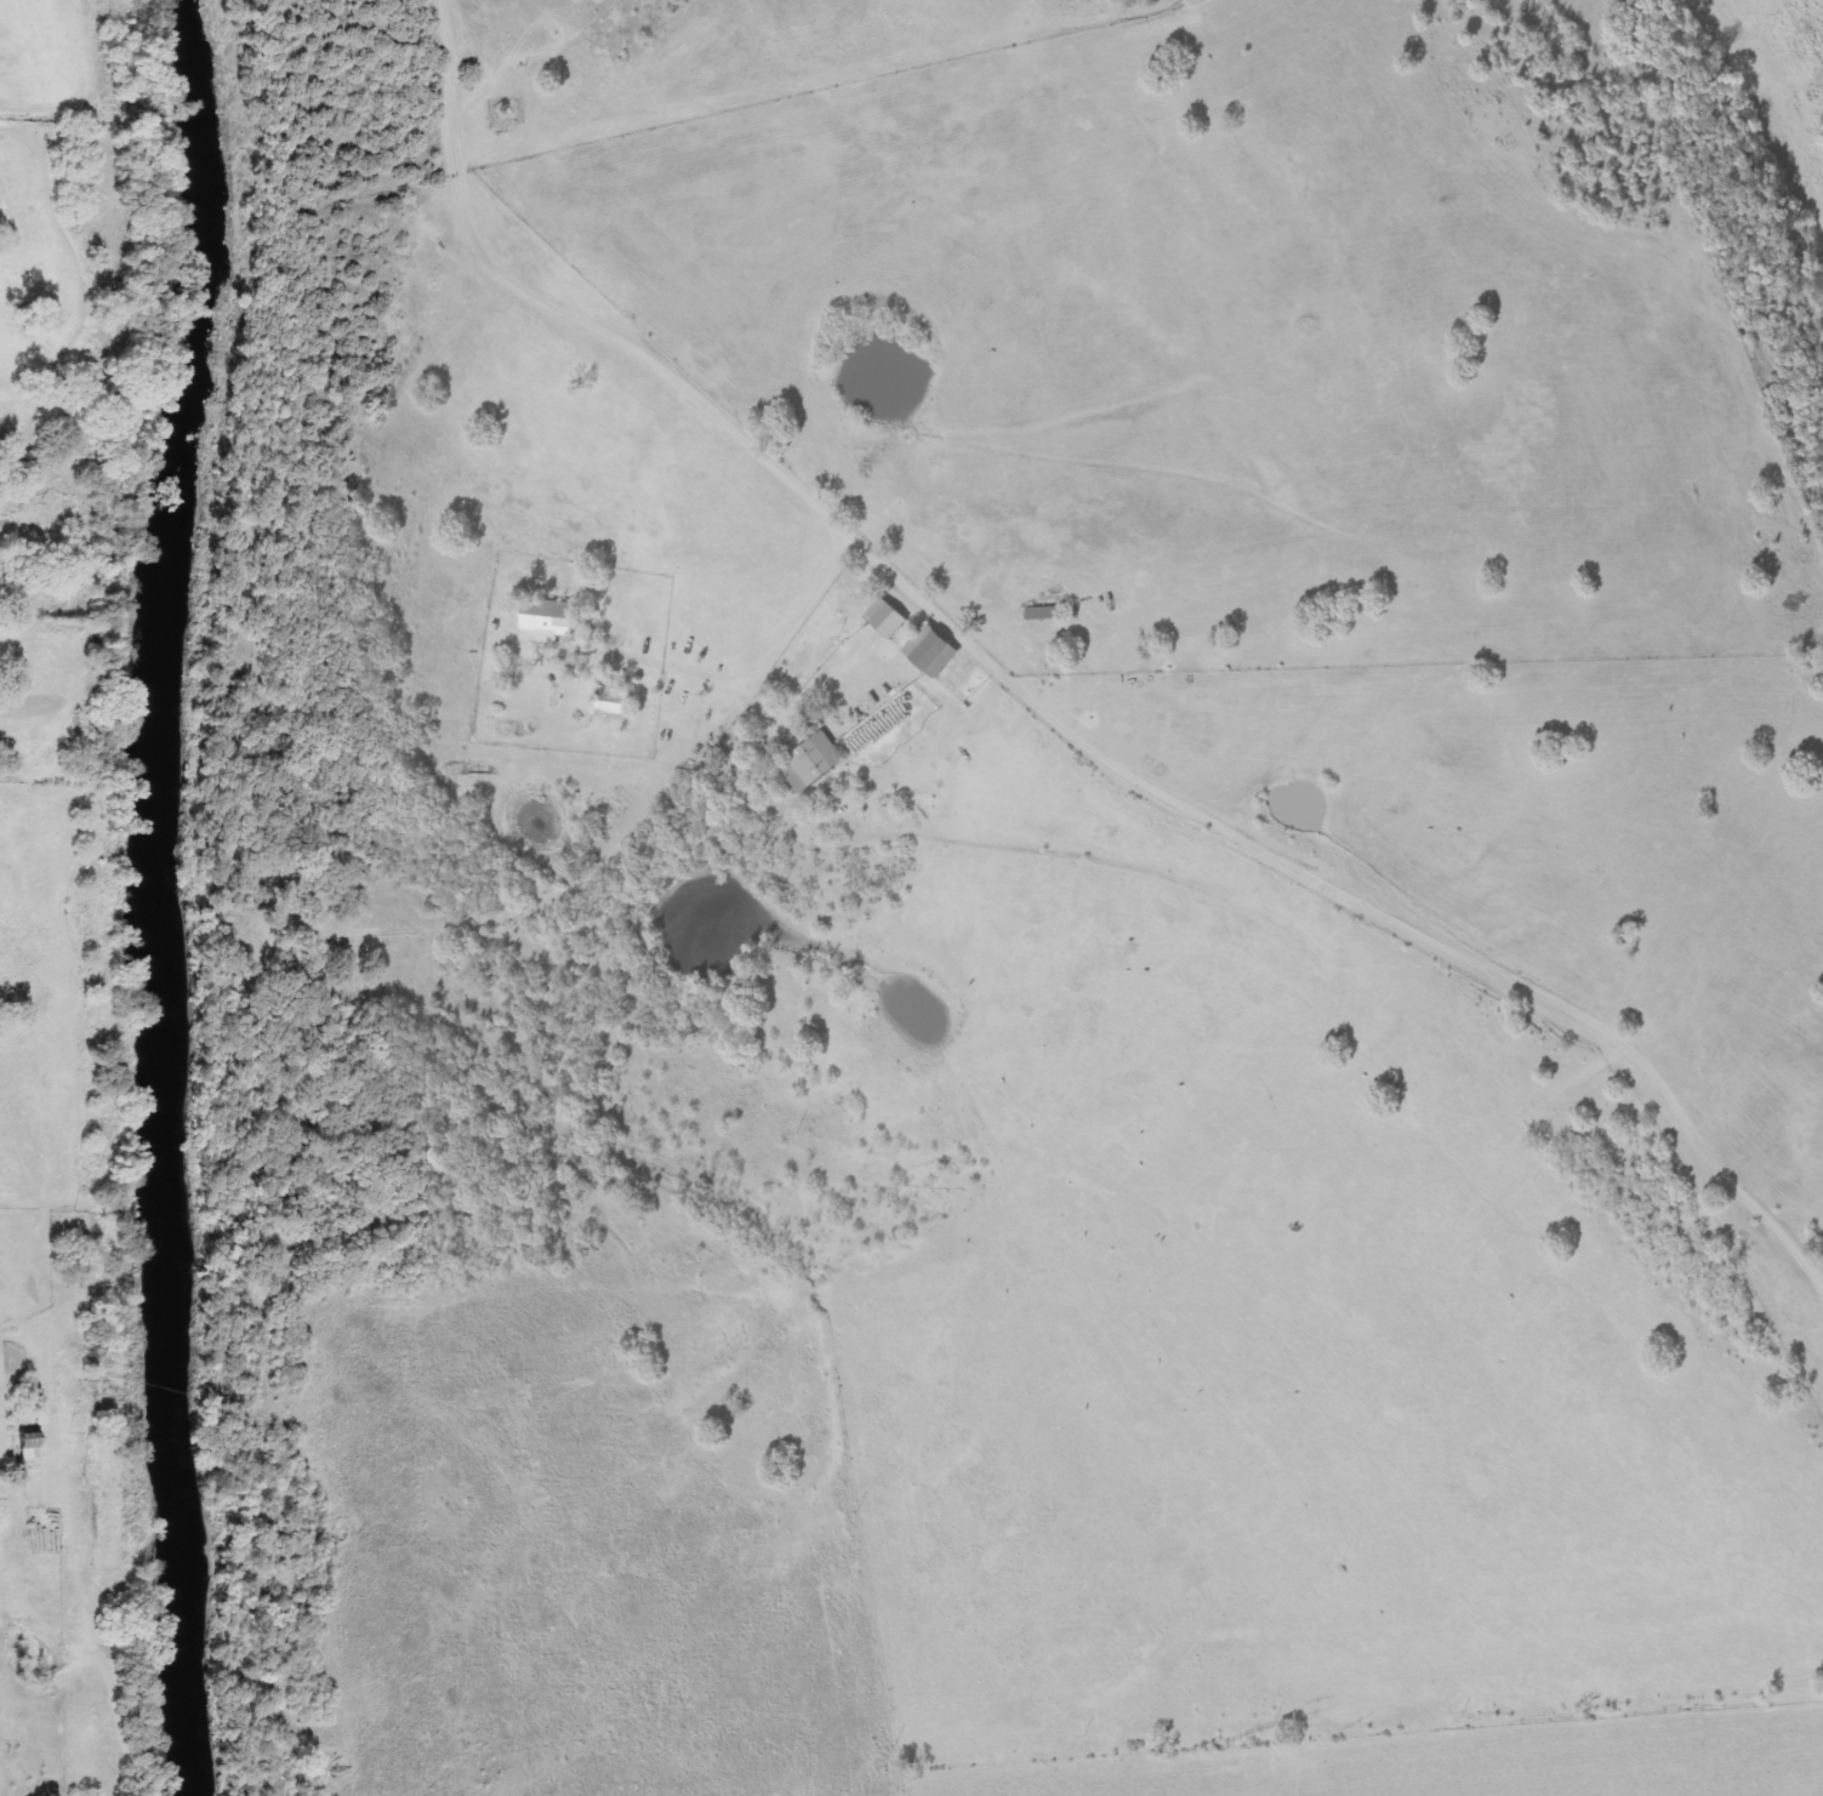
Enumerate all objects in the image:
road: (793, 611)
building: (887, 617)
building: (548, 620)
building: (932, 650)
building: (615, 702)
road: (1037, 709)
building: (809, 762)
building: (39, 1410)
building: (28, 1446)

